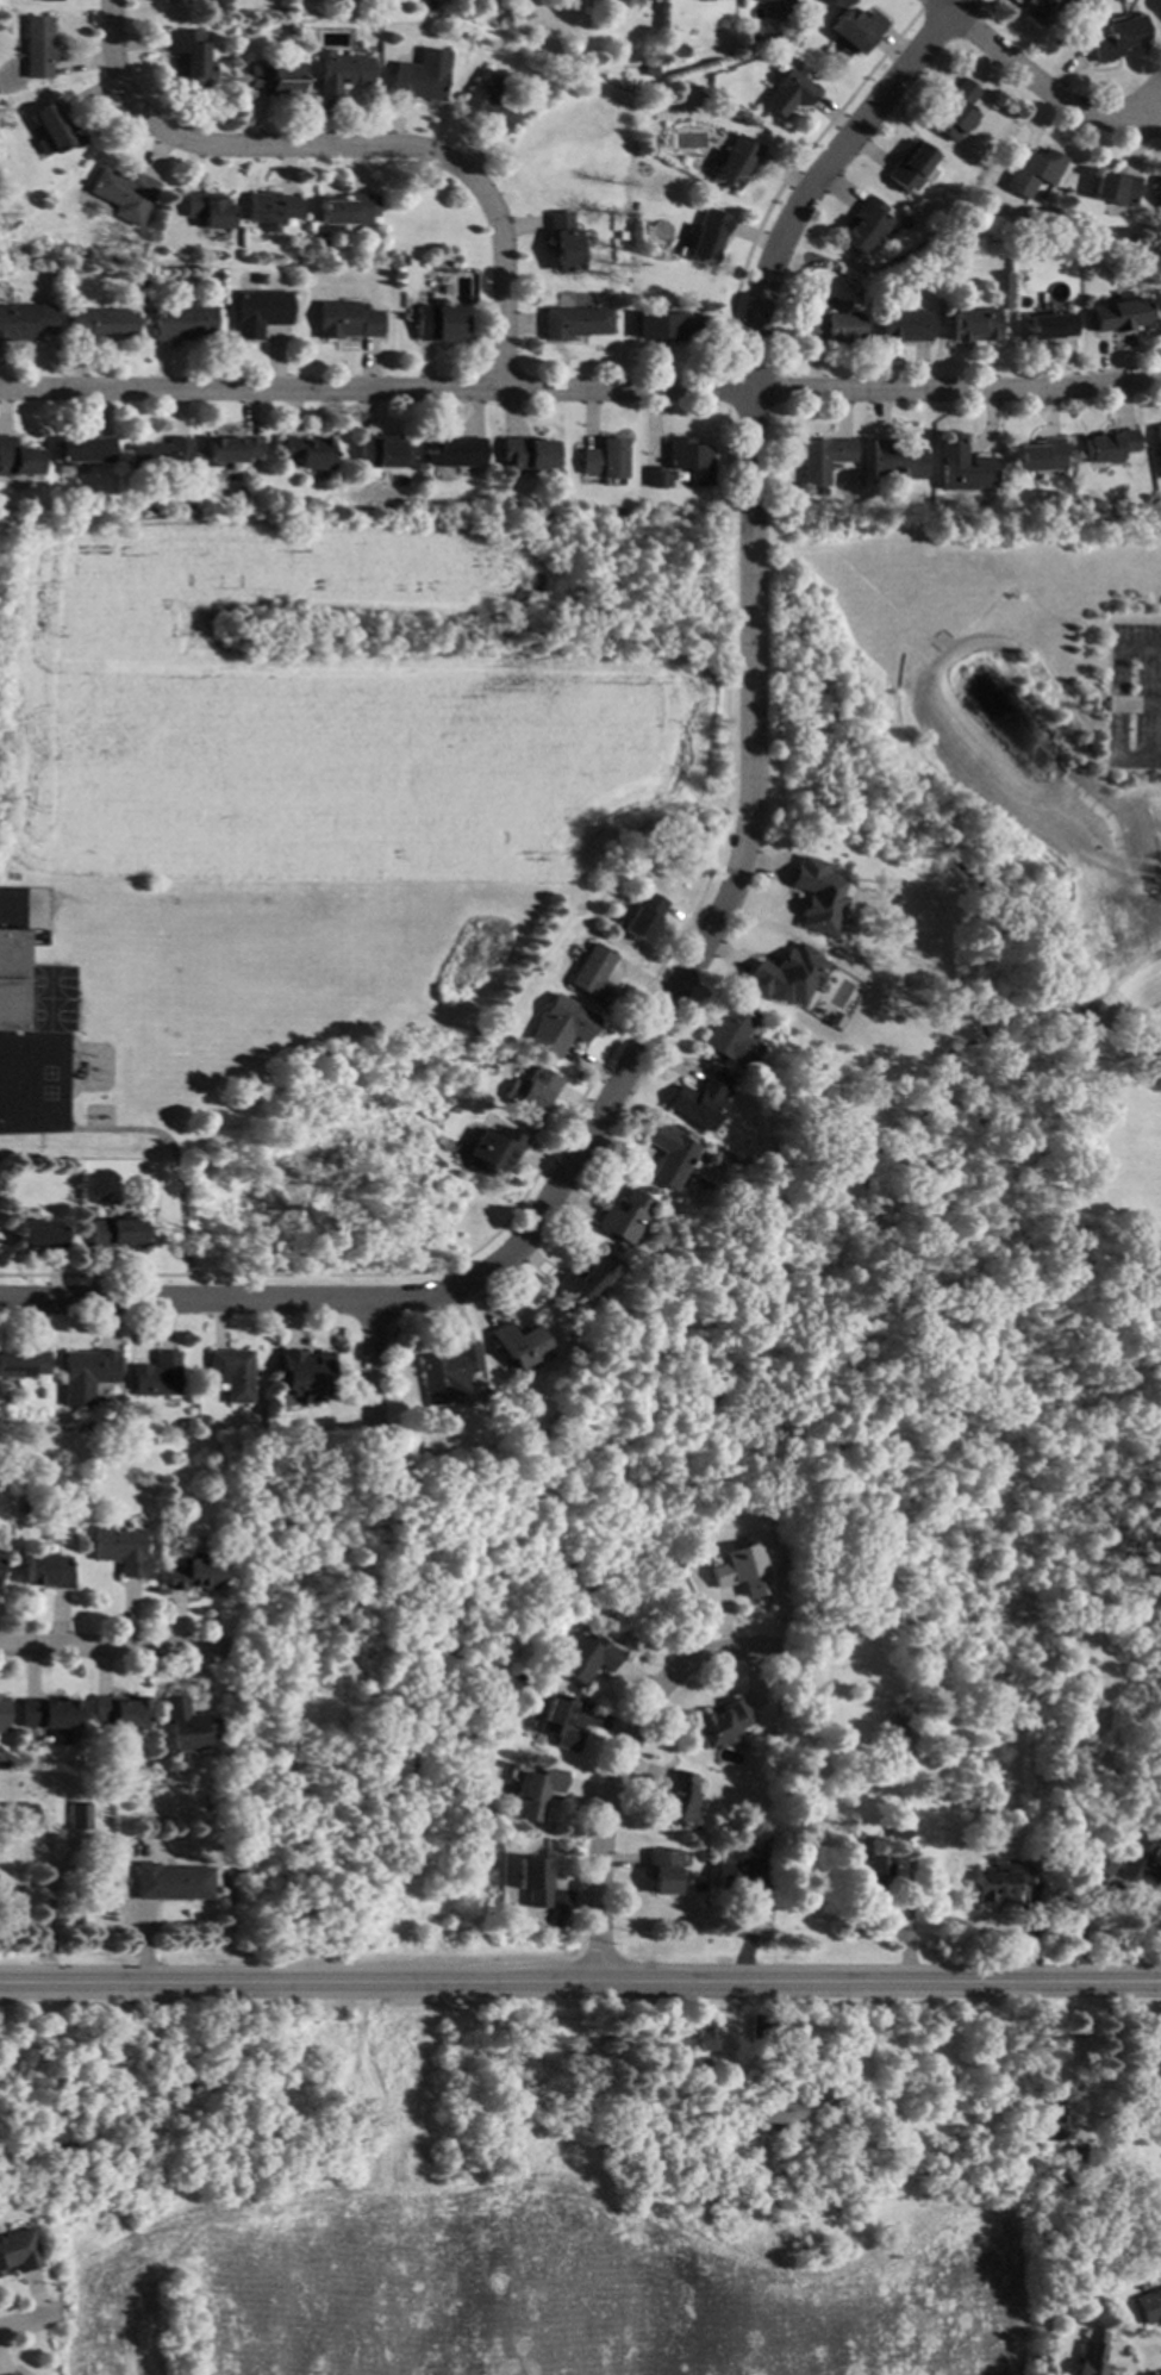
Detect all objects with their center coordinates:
building: (48, 0)
building: (775, 0)
building: (170, 1)
building: (1160, 1)
building: (427, 5)
building: (1038, 11)
building: (0, 24)
building: (226, 29)
building: (854, 29)
building: (748, 35)
building: (1117, 37)
building: (37, 46)
building: (678, 51)
building: (187, 58)
building: (649, 70)
building: (338, 71)
building: (420, 75)
building: (273, 76)
road: (1031, 86)
building: (787, 93)
building: (486, 101)
building: (954, 110)
building: (56, 130)
road: (345, 143)
building: (734, 162)
building: (907, 166)
building: (1031, 172)
building: (1115, 188)
building: (1157, 192)
building: (120, 193)
building: (269, 207)
building: (206, 210)
building: (342, 210)
building: (862, 224)
building: (304, 226)
building: (288, 227)
building: (1068, 232)
building: (658, 235)
building: (707, 235)
building: (563, 242)
building: (400, 257)
building: (258, 312)
building: (1121, 313)
building: (24, 320)
building: (345, 320)
building: (438, 320)
building: (182, 322)
building: (574, 322)
building: (100, 323)
building: (974, 324)
building: (905, 325)
building: (1051, 325)
building: (664, 326)
building: (832, 328)
road: (580, 389)
building: (1159, 436)
building: (1110, 445)
building: (82, 450)
building: (227, 450)
building: (307, 451)
building: (379, 451)
building: (454, 451)
building: (526, 453)
building: (1040, 455)
building: (160, 456)
building: (823, 457)
building: (17, 459)
building: (604, 459)
building: (688, 460)
building: (894, 461)
building: (962, 467)
building: (656, 478)
road: (1115, 705)
crop: (318, 719)
road: (1157, 850)
road: (729, 884)
building: (814, 897)
building: (642, 916)
building: (592, 974)
building: (784, 975)
building: (12, 979)
park: (50, 998)
building: (558, 1026)
building: (731, 1036)
building: (535, 1091)
building: (698, 1101)
road: (163, 1137)
building: (491, 1151)
building: (667, 1154)
building: (709, 1158)
building: (623, 1217)
building: (112, 1232)
building: (37, 1234)
building: (1146, 1267)
building: (580, 1279)
building: (514, 1344)
road: (368, 1359)
building: (21, 1363)
building: (445, 1371)
building: (230, 1373)
building: (304, 1373)
building: (83, 1374)
building: (154, 1376)
park: (662, 1407)
building: (424, 1420)
building: (23, 1508)
building: (119, 1550)
building: (45, 1570)
building: (739, 1570)
building: (192, 1573)
road: (104, 1645)
building: (582, 1657)
building: (920, 1665)
building: (901, 1703)
building: (118, 1710)
building: (2, 1713)
building: (49, 1716)
building: (557, 1722)
building: (719, 1722)
building: (186, 1725)
building: (900, 1725)
building: (904, 1750)
road: (620, 1769)
building: (535, 1793)
building: (678, 1797)
building: (970, 1804)
building: (79, 1815)
building: (19, 1816)
building: (900, 1824)
building: (754, 1844)
building: (142, 1850)
building: (1129, 1863)
building: (870, 1869)
building: (662, 1870)
building: (743, 1877)
building: (531, 1878)
building: (1005, 1880)
building: (171, 1881)
road: (49, 1916)
road: (580, 1975)
building: (761, 2030)
building: (695, 2038)
building: (842, 2041)
building: (705, 2070)
building: (1154, 2070)
road: (370, 2084)
building: (705, 2092)
building: (1053, 2109)
building: (786, 2112)
building: (713, 2133)
building: (1051, 2134)
building: (1078, 2156)
building: (867, 2171)
building: (1138, 2176)
building: (18, 2251)
building: (0, 2274)
crop: (510, 2282)
building: (1149, 2307)
road: (19, 2320)
building: (1091, 2352)

